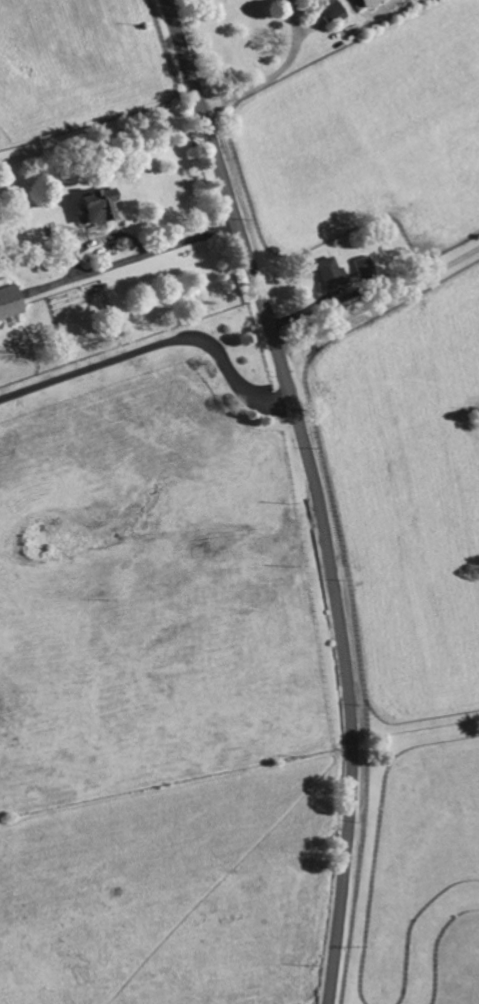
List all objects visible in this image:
building: (368, 3)
building: (331, 12)
road: (275, 74)
building: (95, 207)
road: (110, 264)
building: (364, 267)
building: (329, 274)
road: (378, 301)
building: (8, 303)
road: (155, 345)
road: (316, 492)

